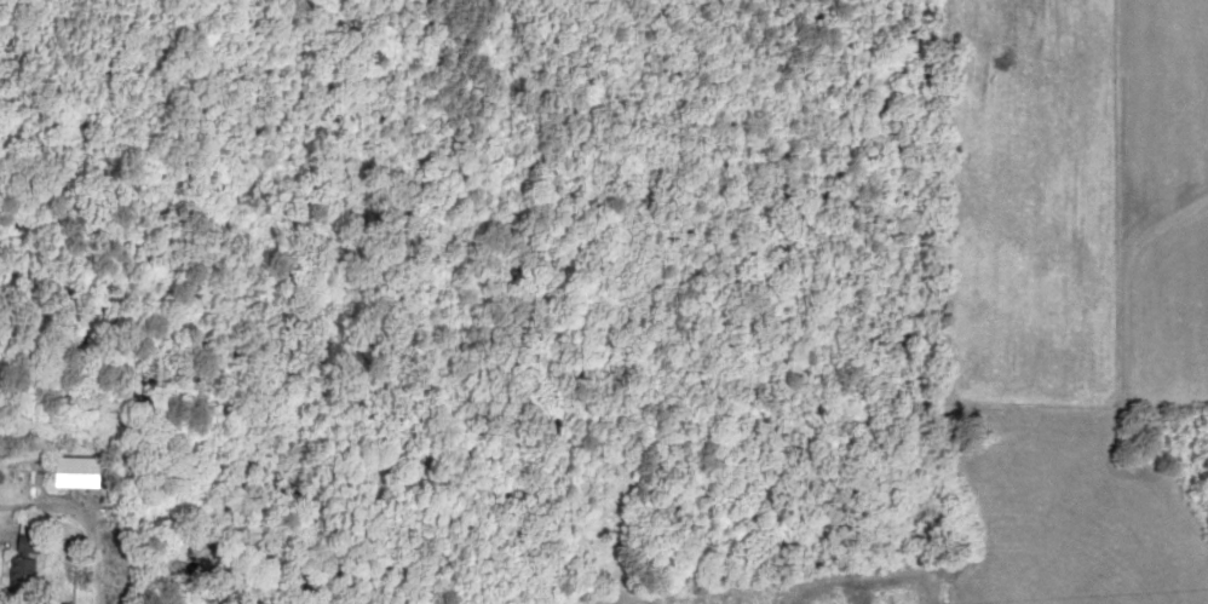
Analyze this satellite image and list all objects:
building: (63, 472)
building: (10, 574)

